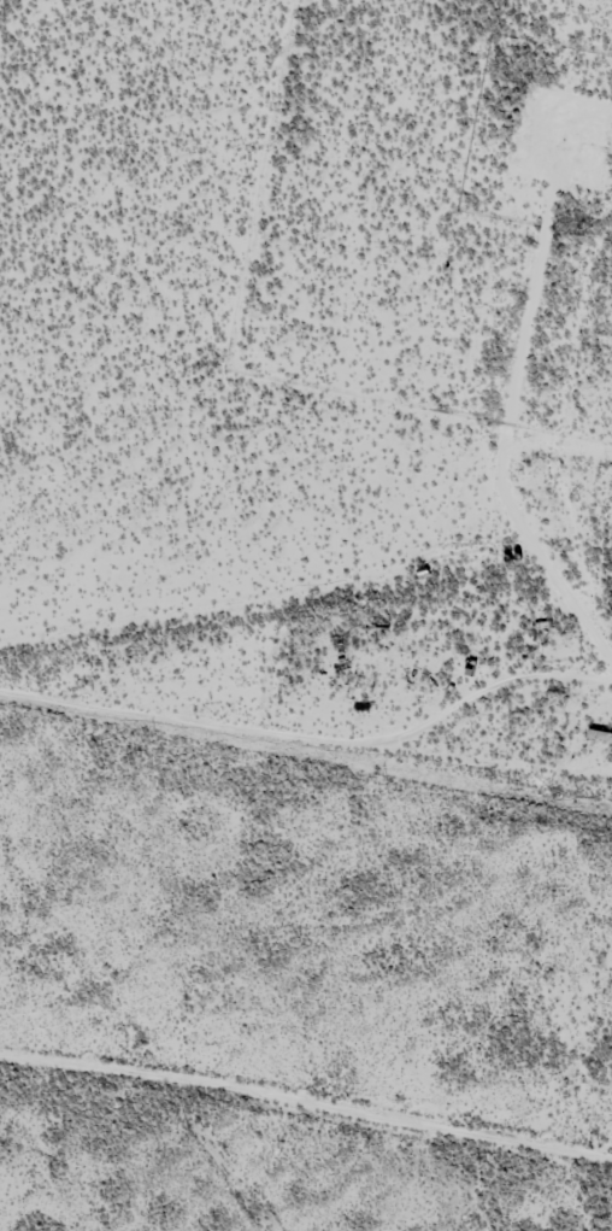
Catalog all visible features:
road: (304, 1098)
road: (218, 1172)

